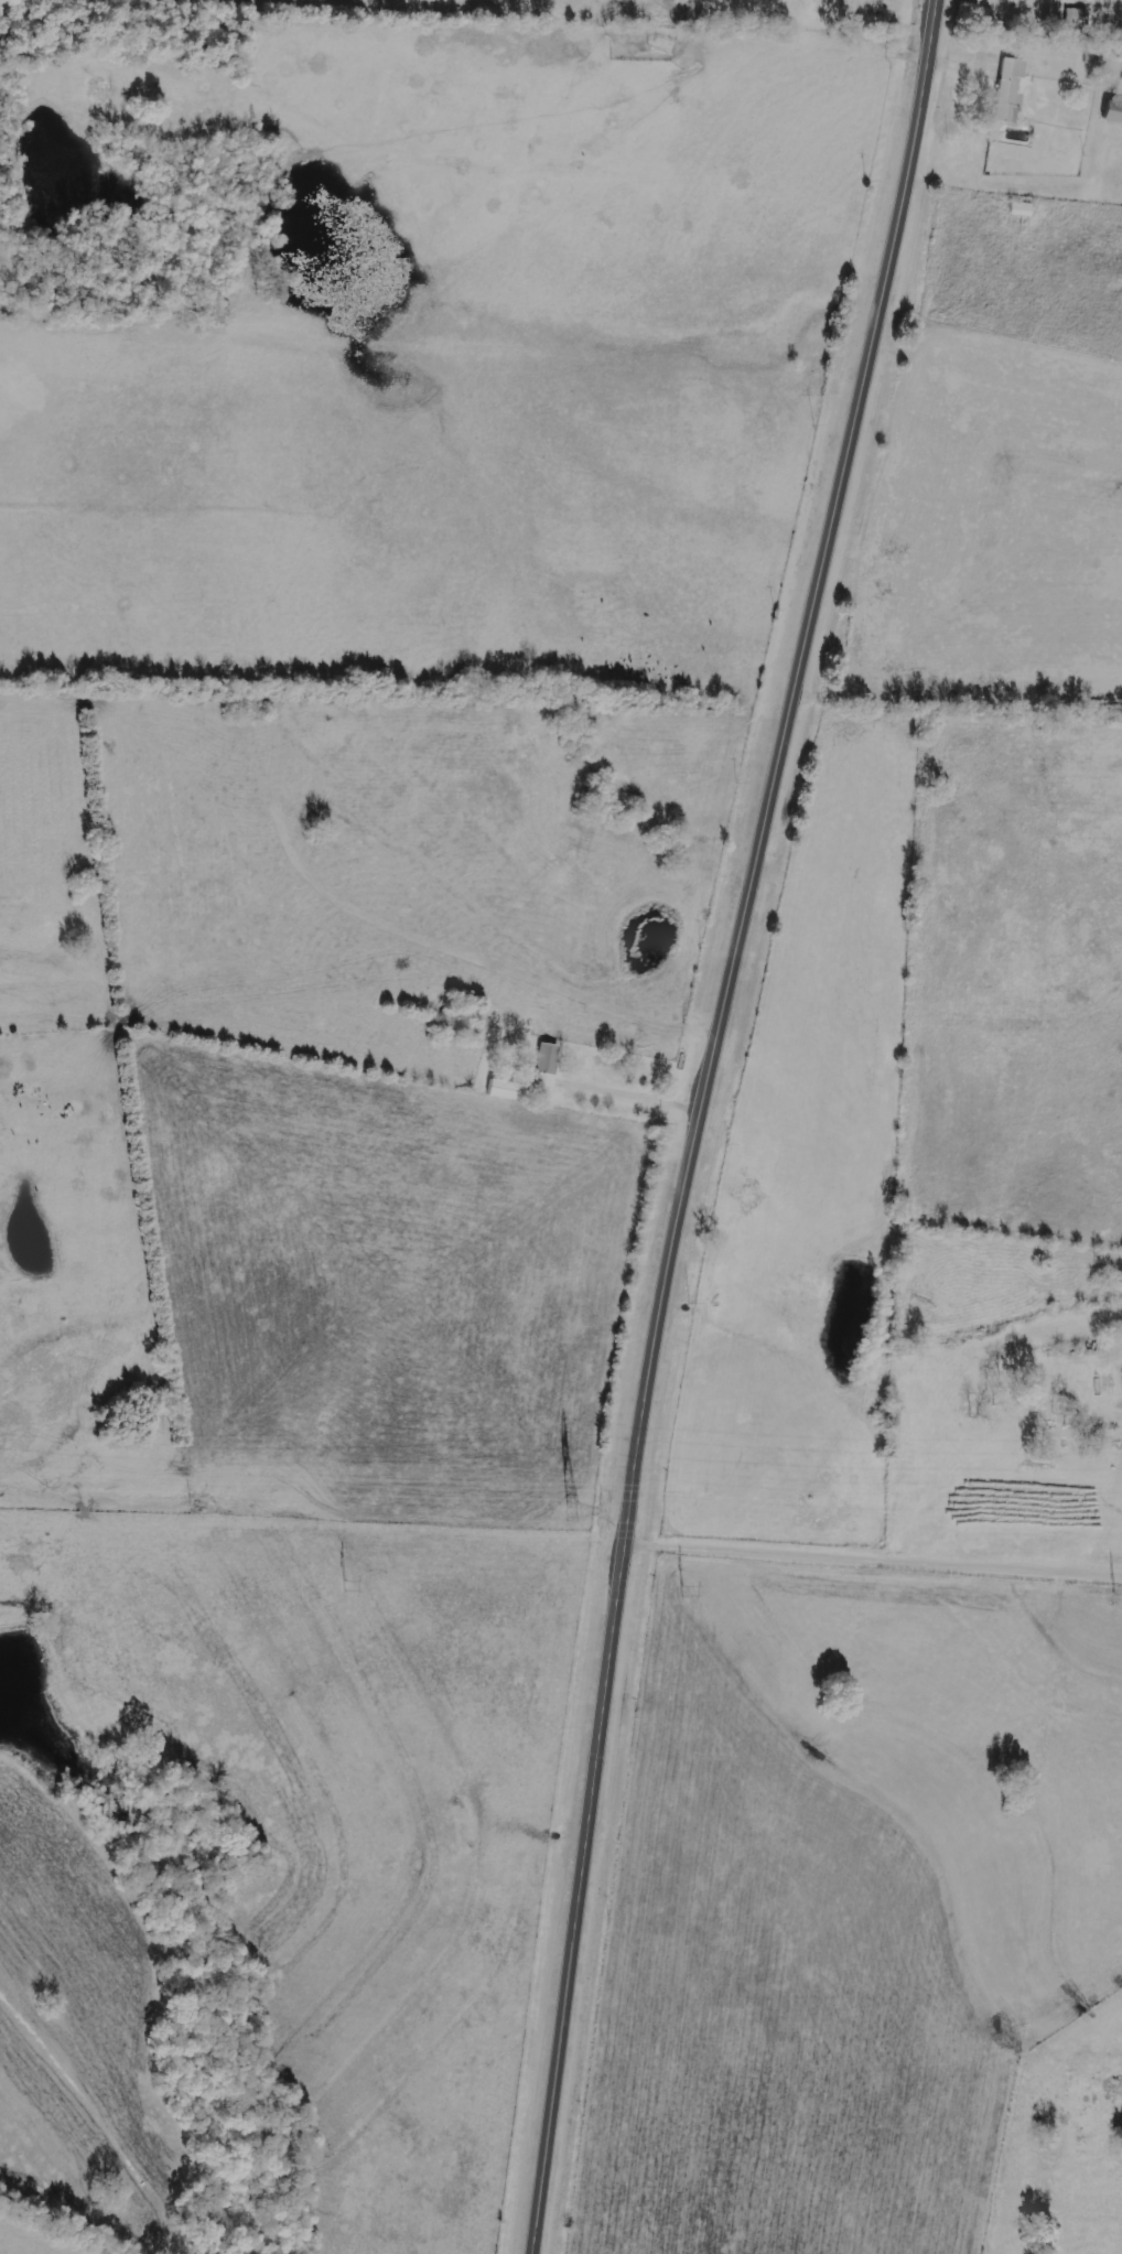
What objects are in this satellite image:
building: (1075, 17)
building: (1007, 93)
building: (1112, 112)
building: (544, 1067)
road: (700, 1120)
power tower: (578, 1516)
road: (873, 1561)

